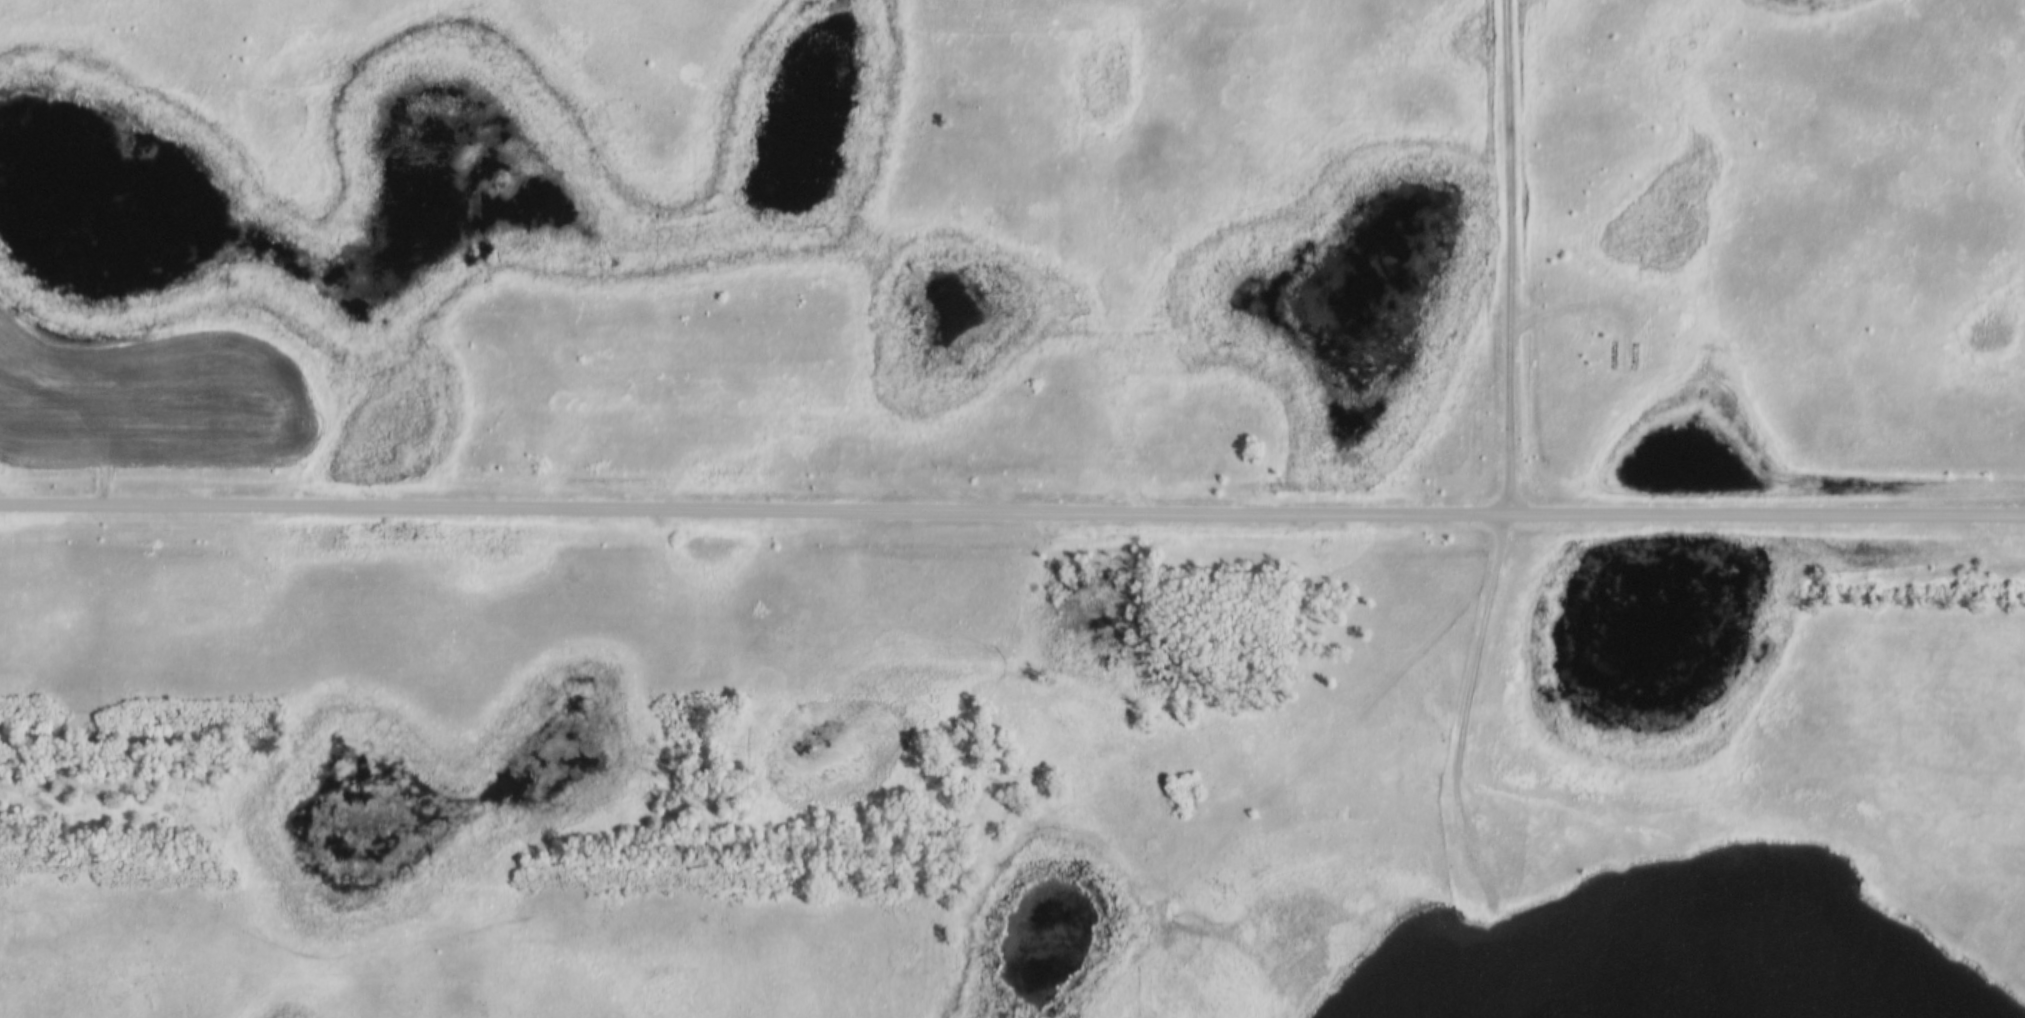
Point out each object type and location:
road: (1513, 257)
road: (1012, 517)
road: (1471, 715)

